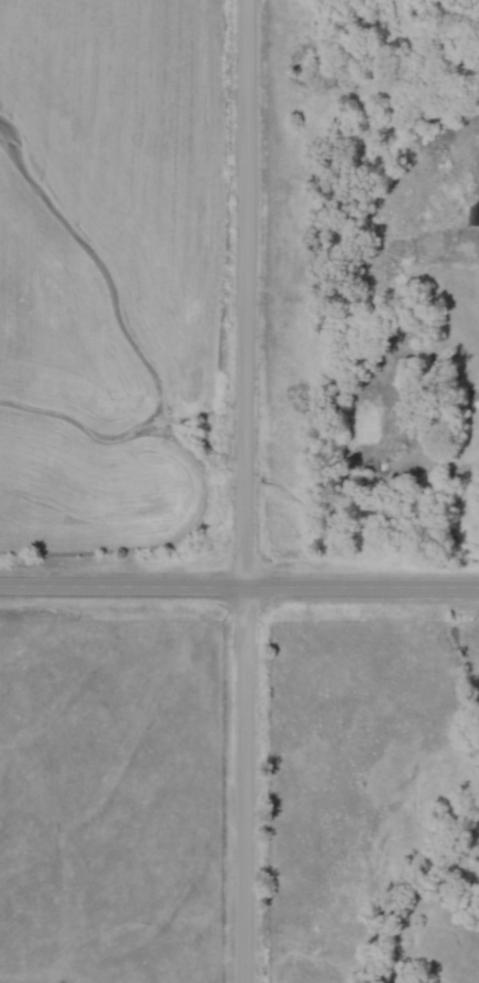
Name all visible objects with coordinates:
building: (475, 213)
road: (246, 491)
road: (239, 592)

